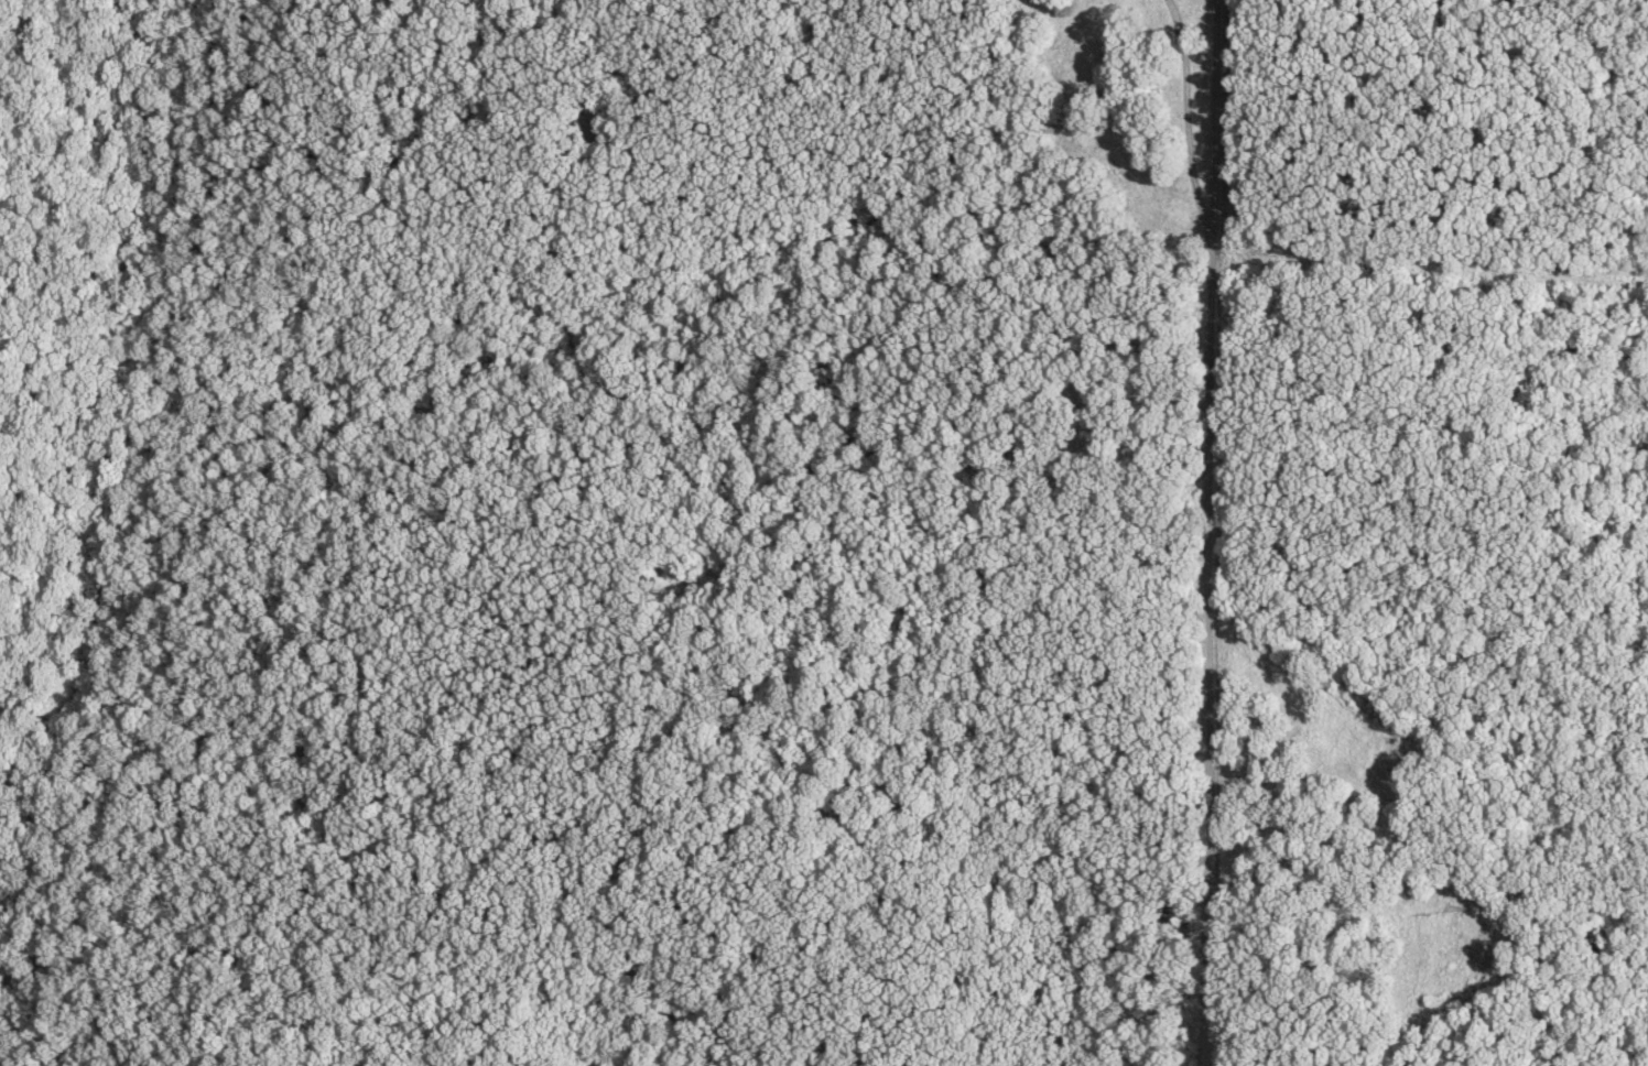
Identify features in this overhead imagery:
road: (1302, 265)

